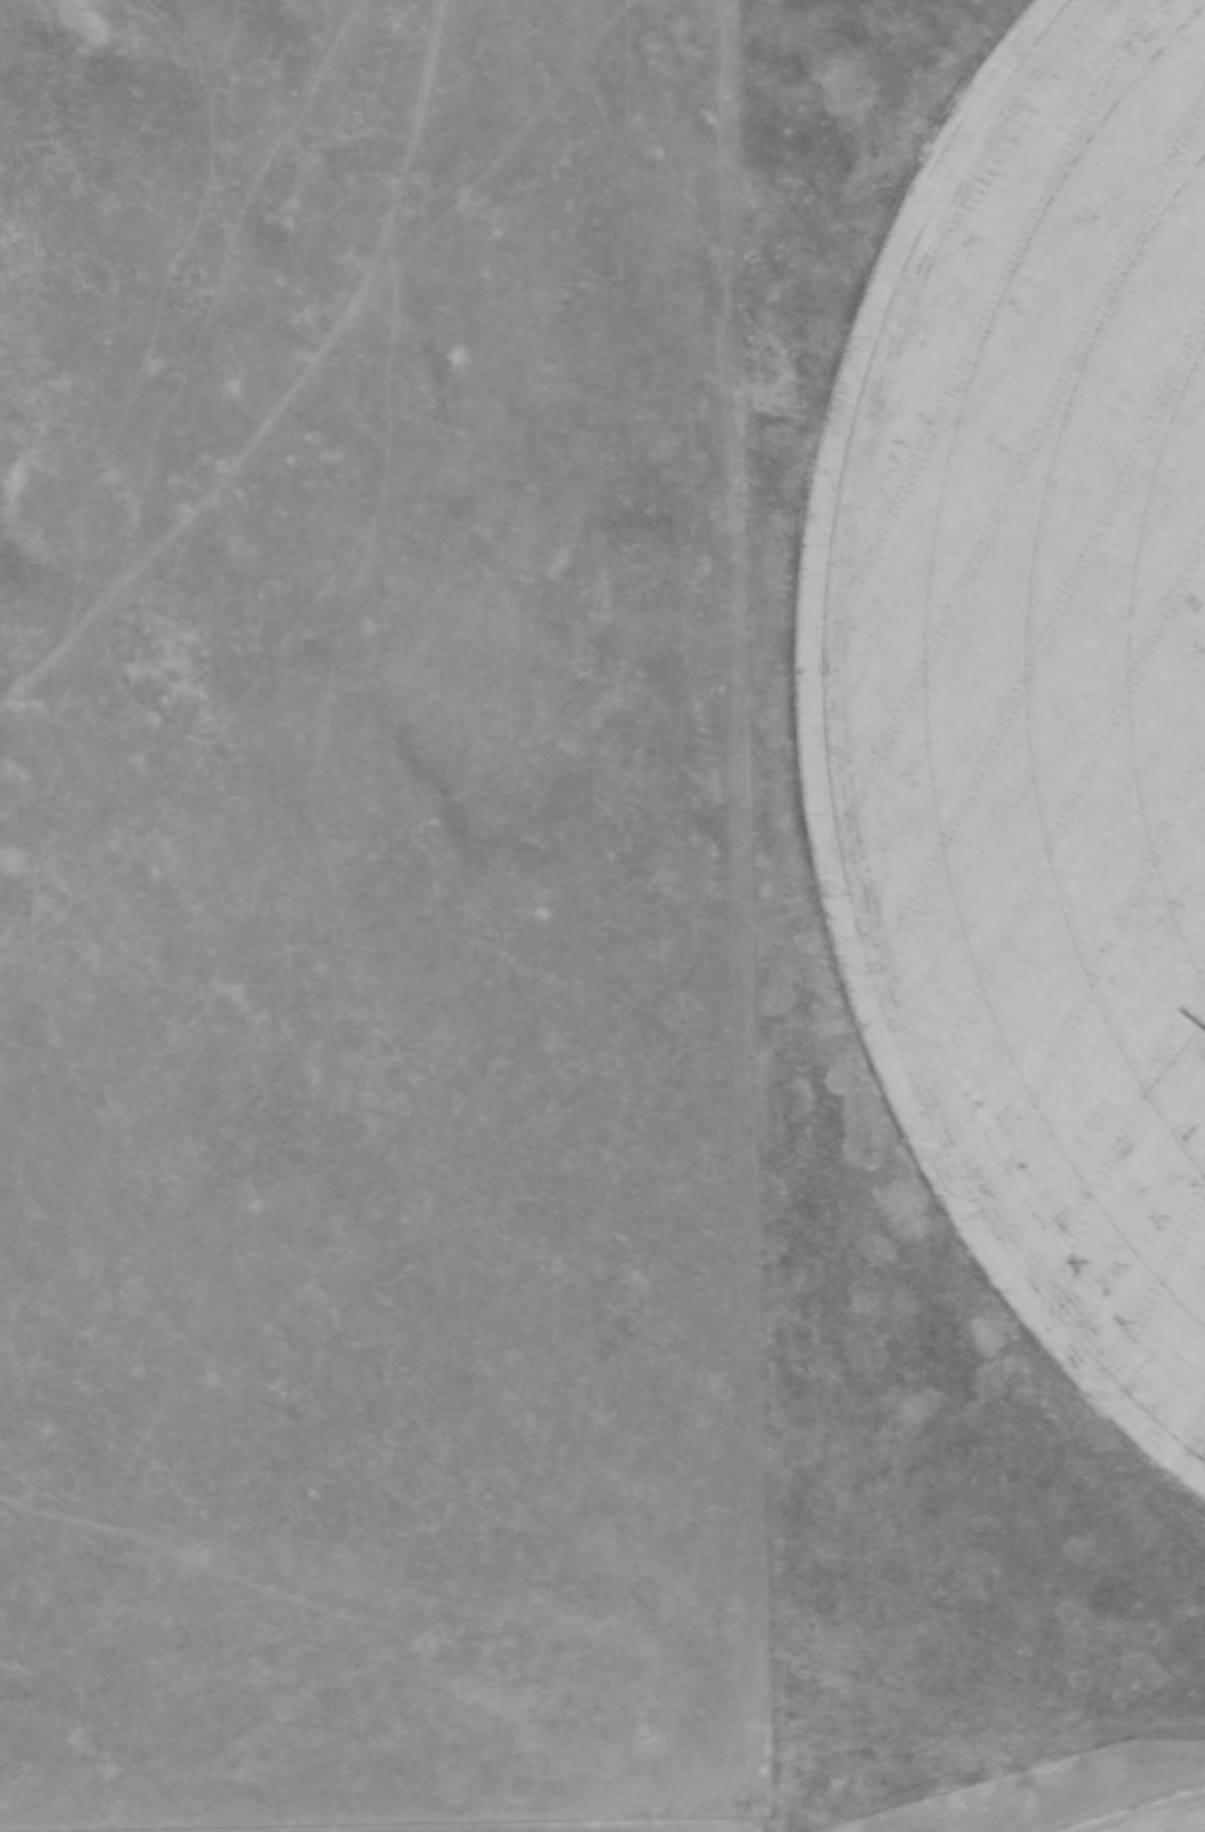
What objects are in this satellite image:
crop: (1035, 684)
crop: (1168, 1821)

